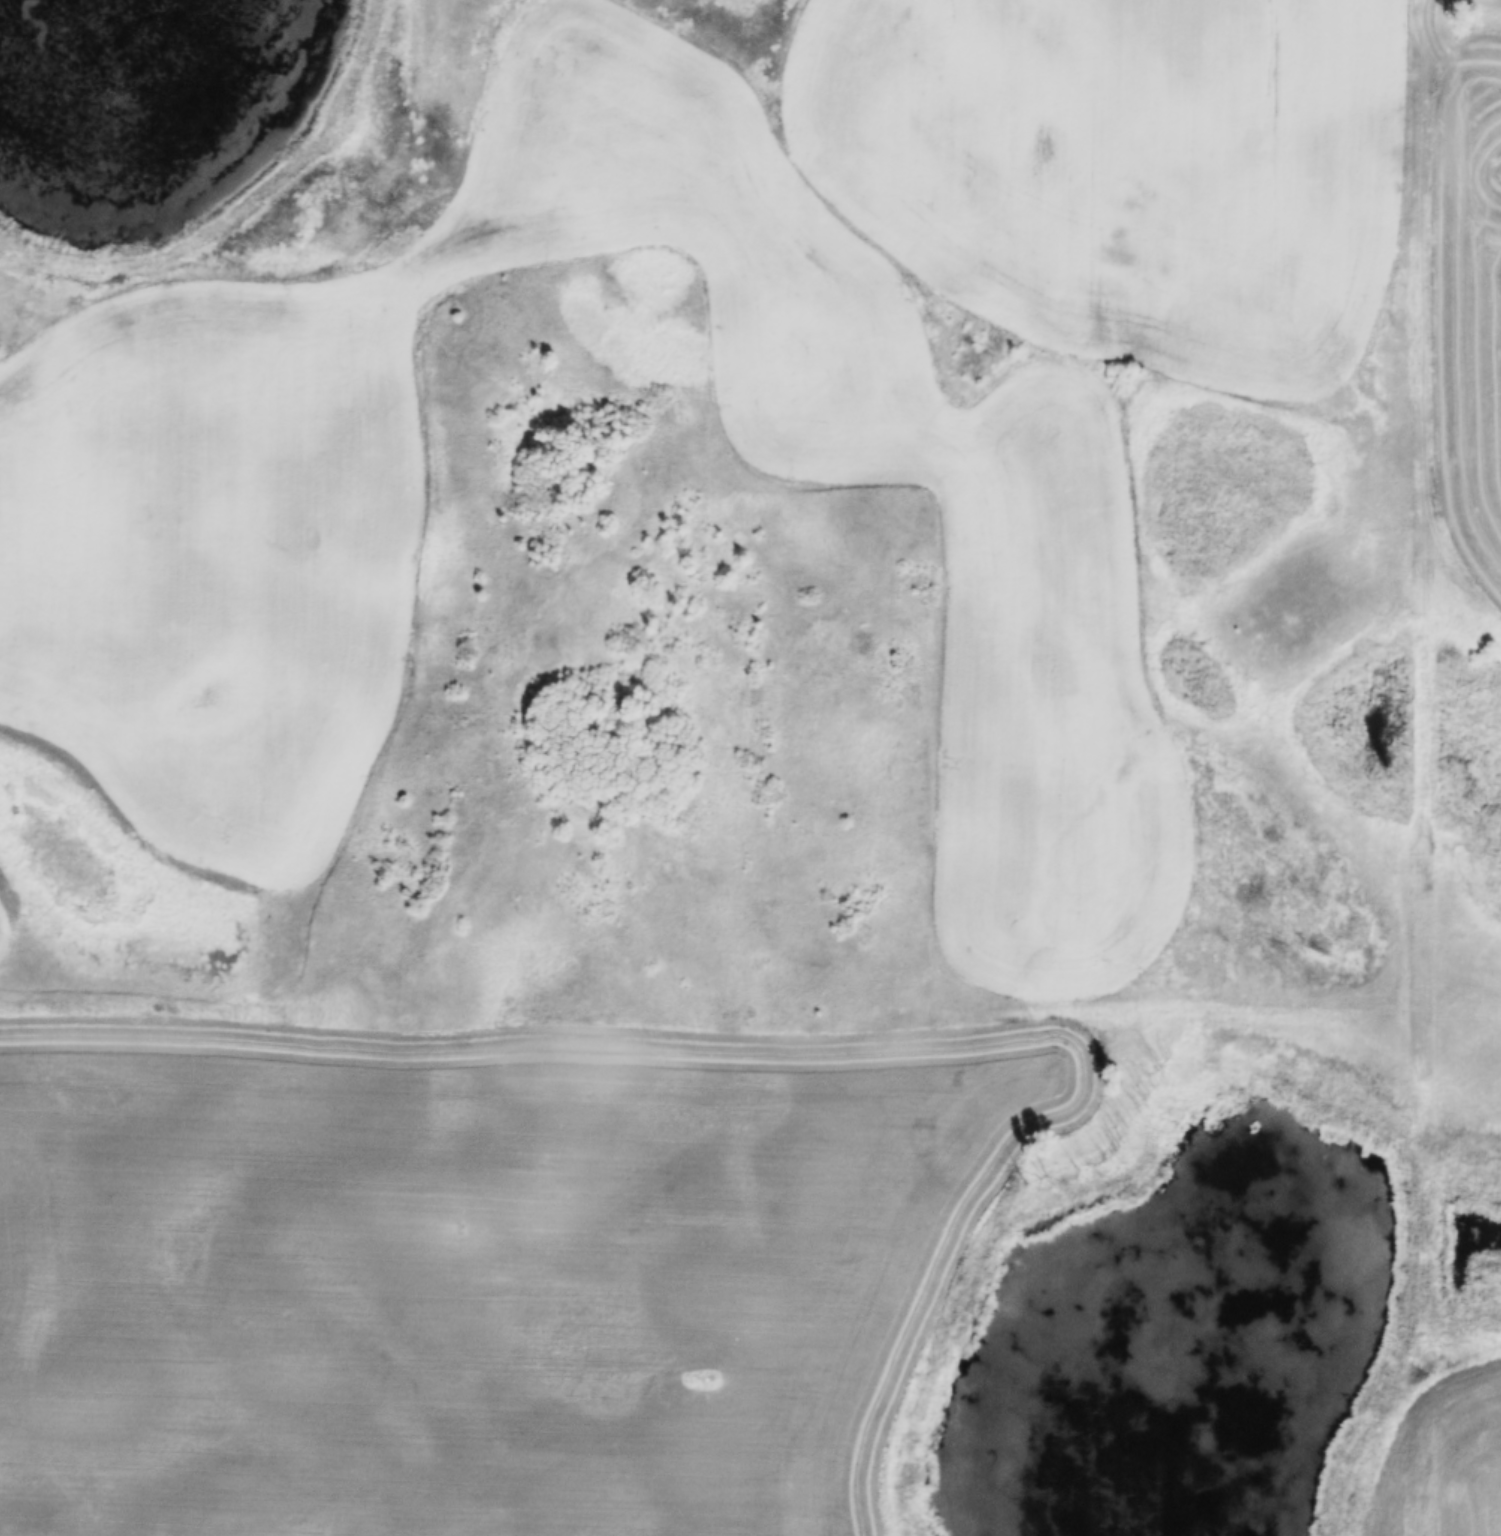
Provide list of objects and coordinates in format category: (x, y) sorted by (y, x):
road: (1430, 93)

